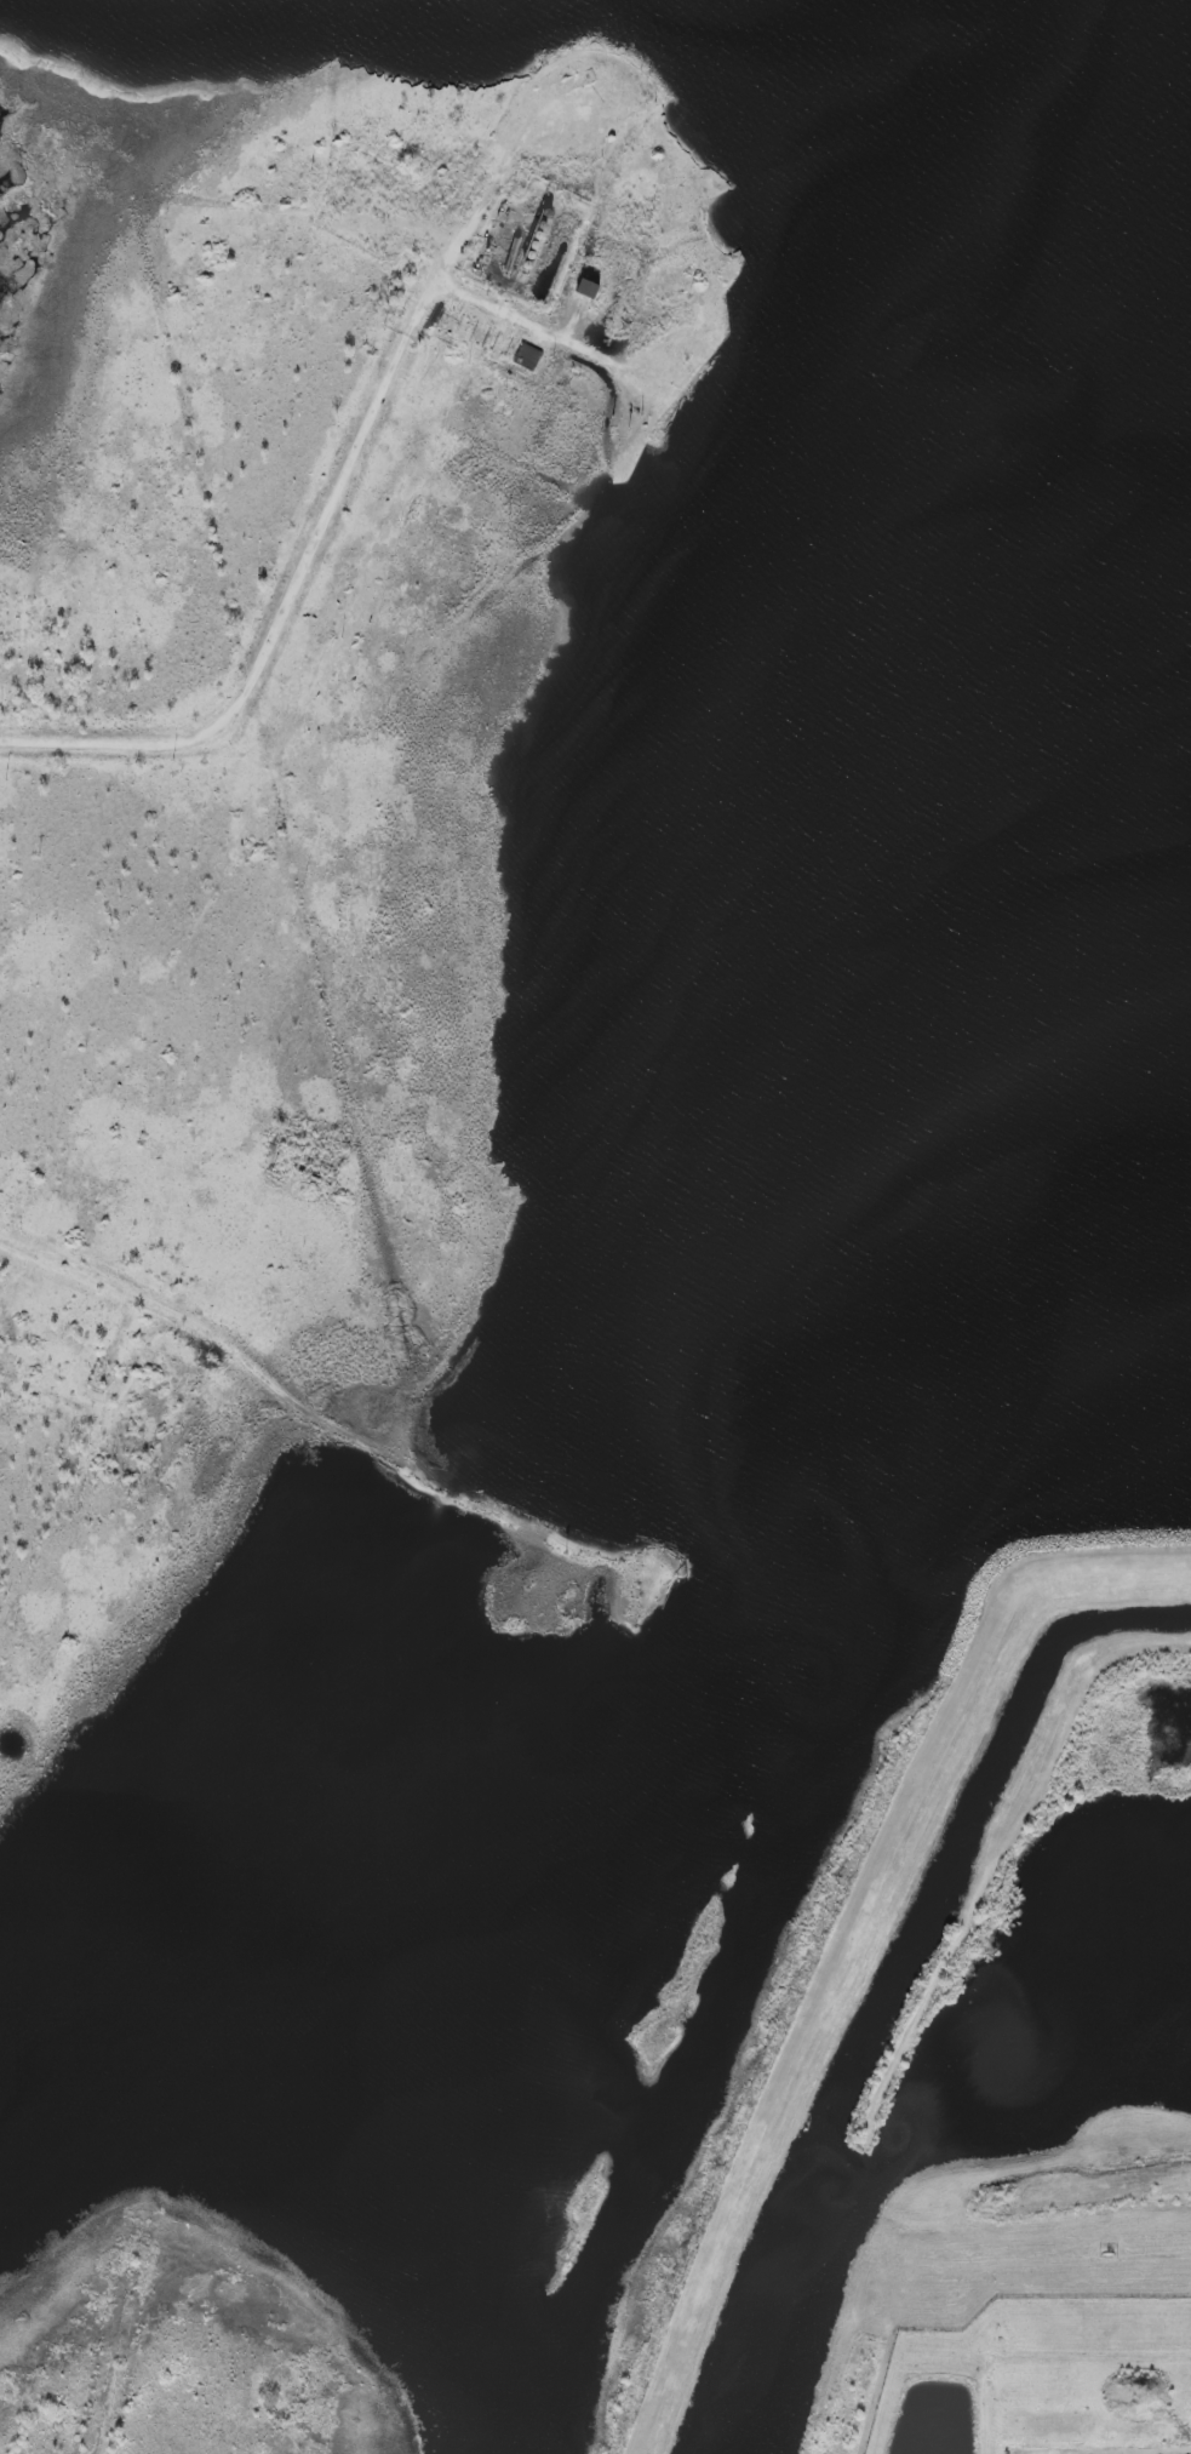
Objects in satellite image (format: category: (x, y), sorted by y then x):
building: (586, 288)
road: (520, 320)
road: (317, 543)

